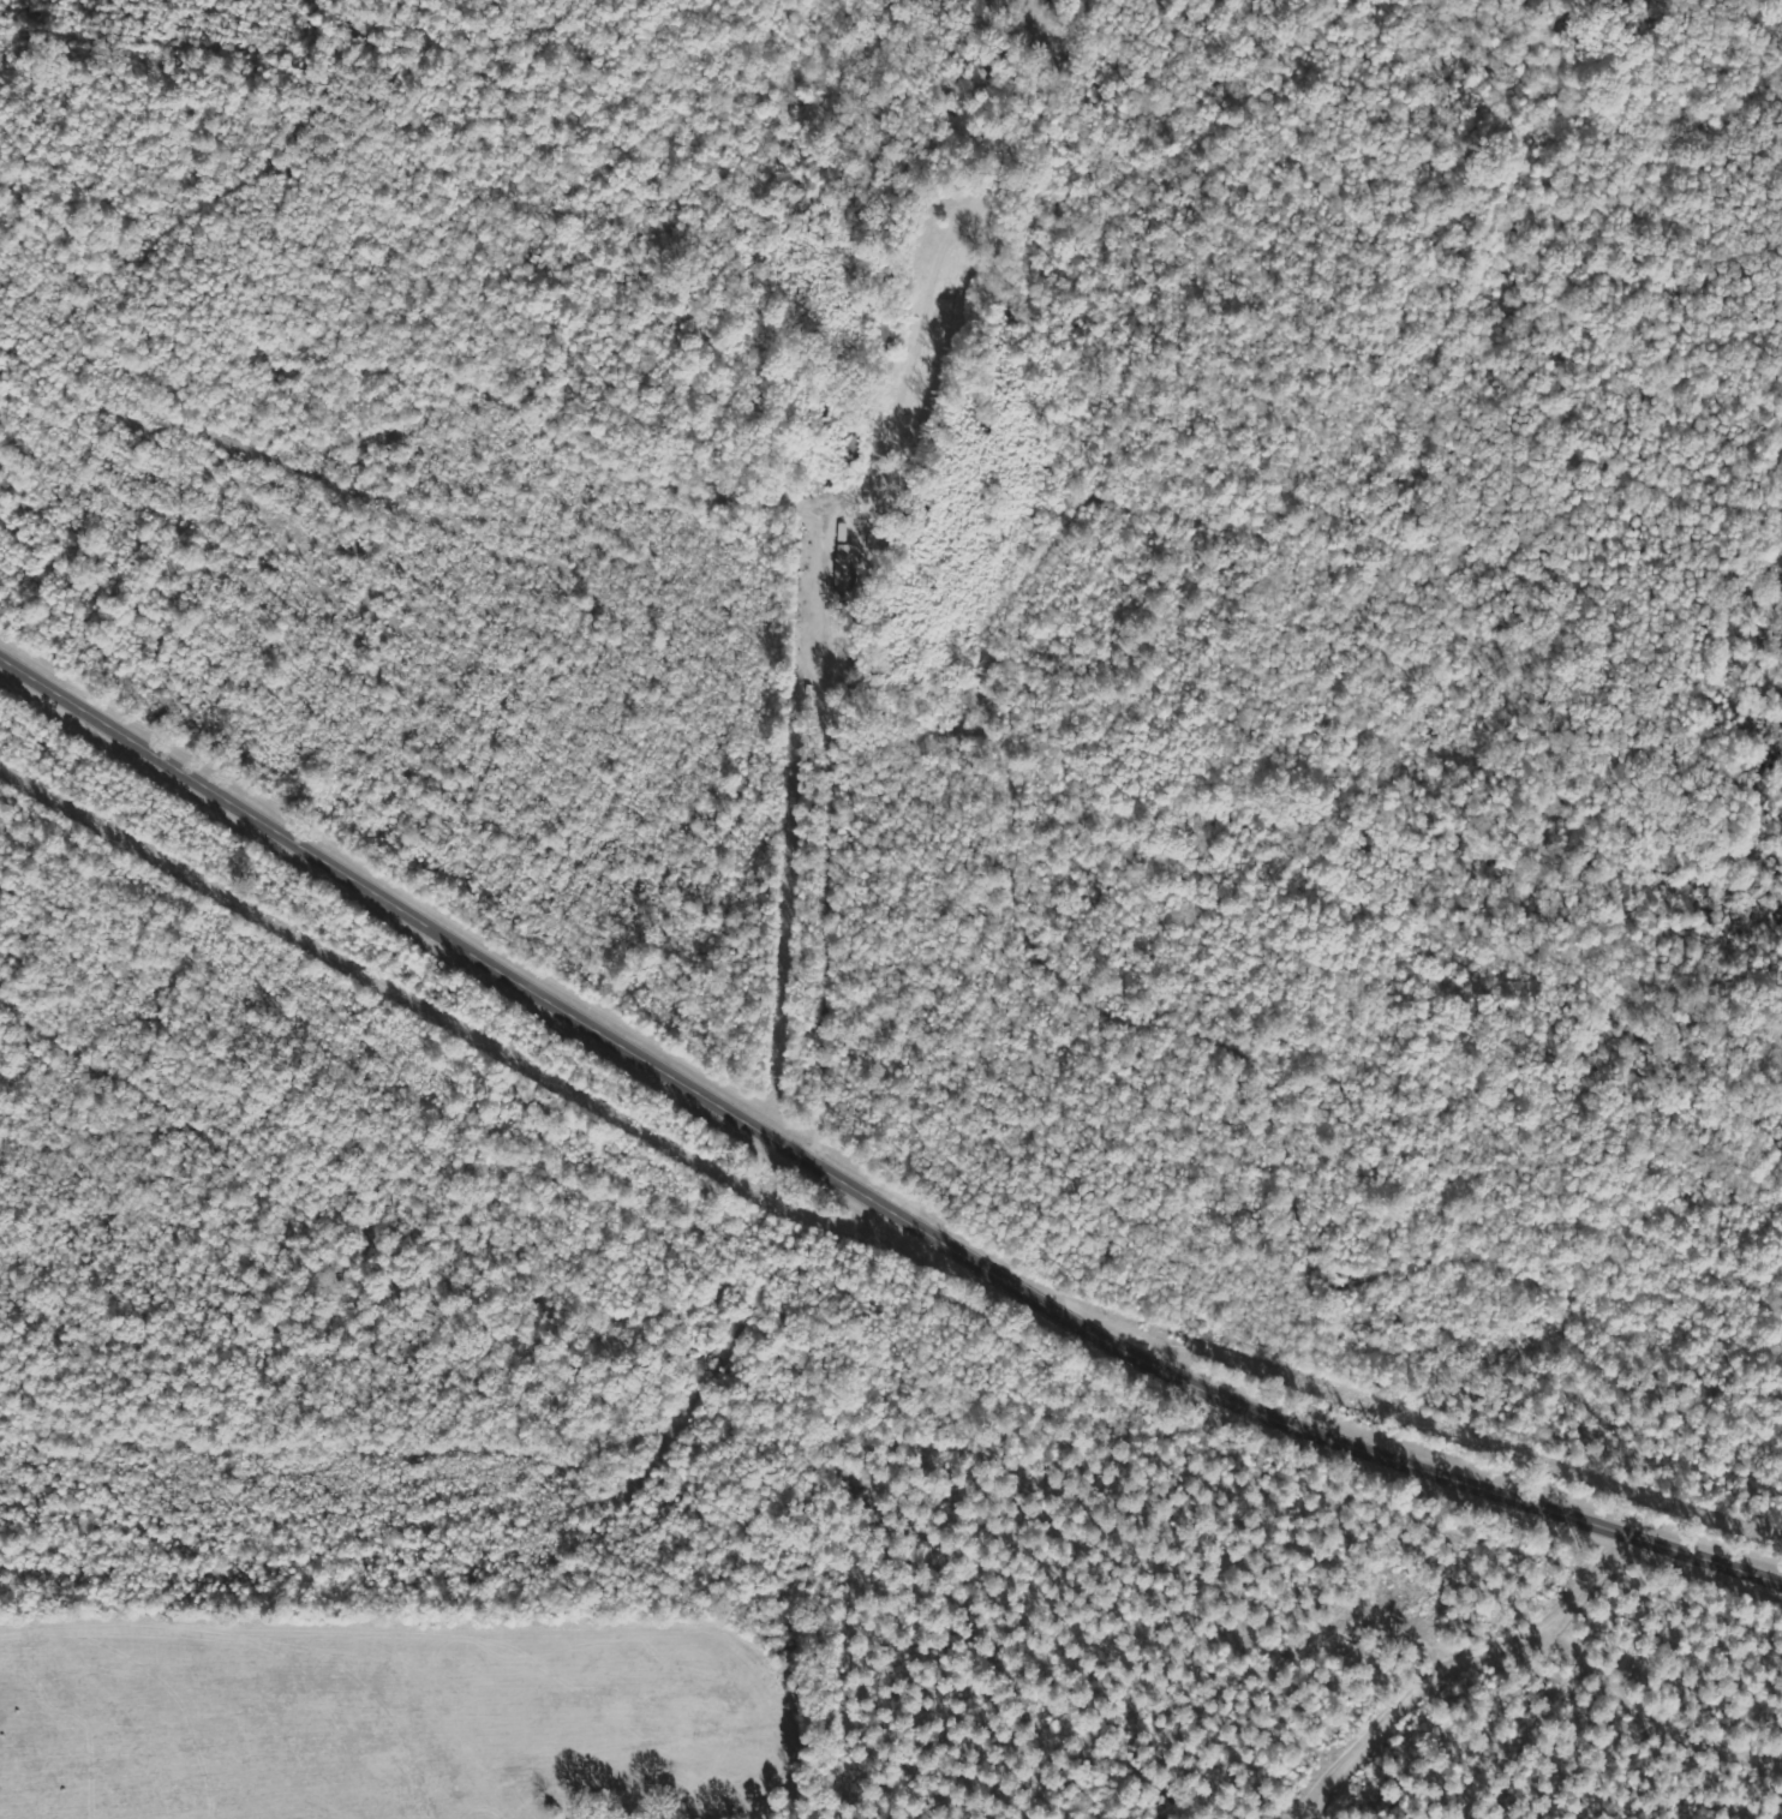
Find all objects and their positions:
road: (808, 722)
road: (857, 1187)

